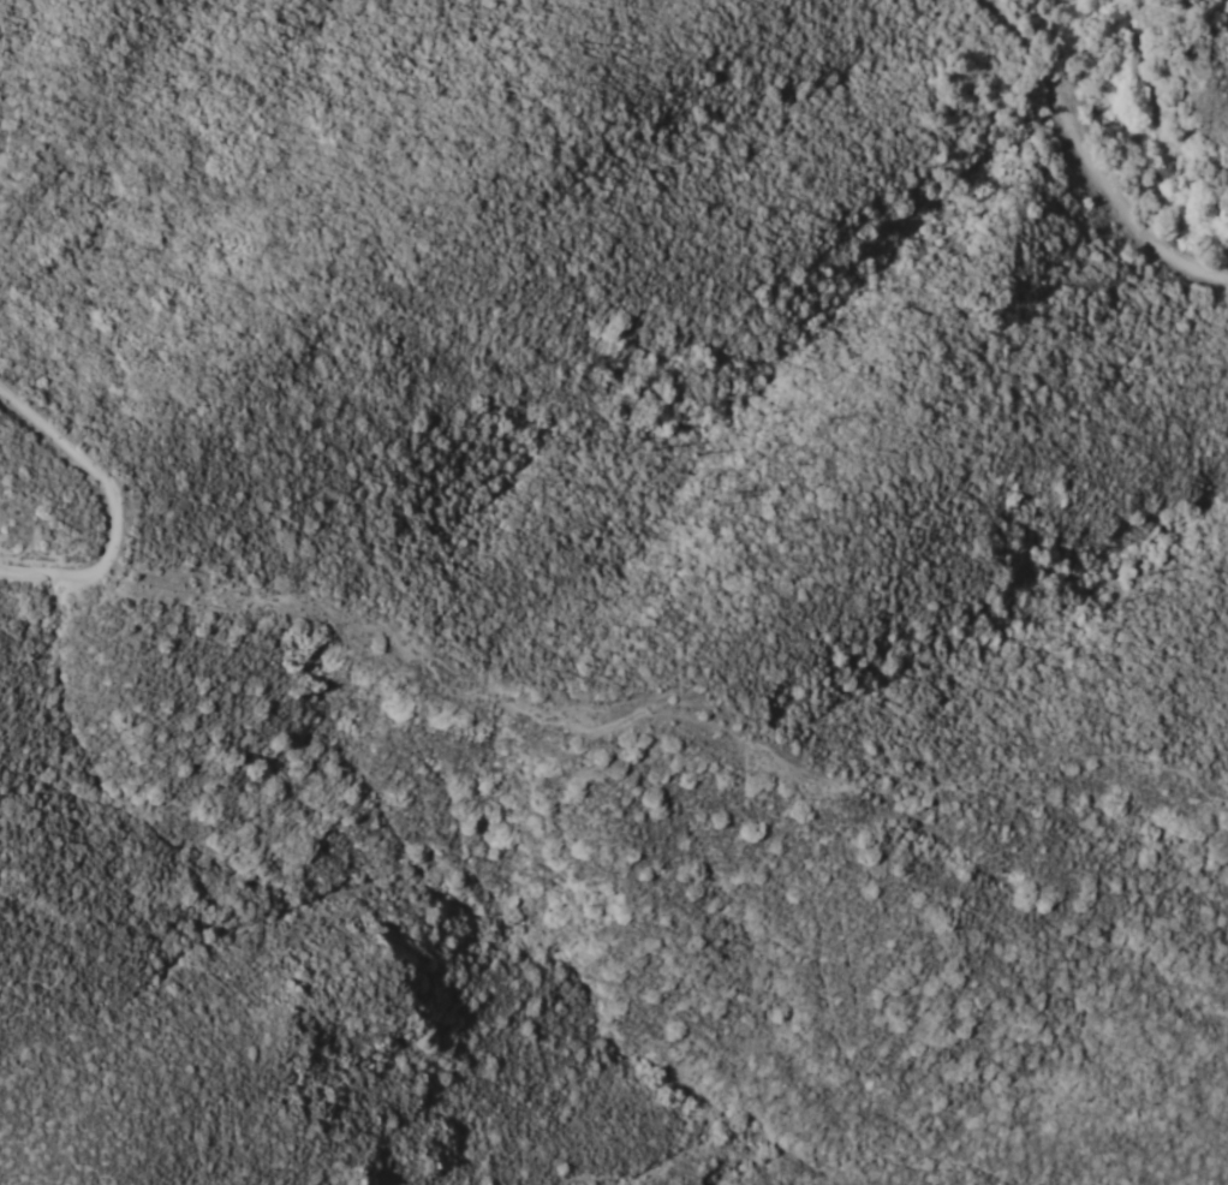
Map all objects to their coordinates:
road: (1083, 157)
road: (114, 518)

